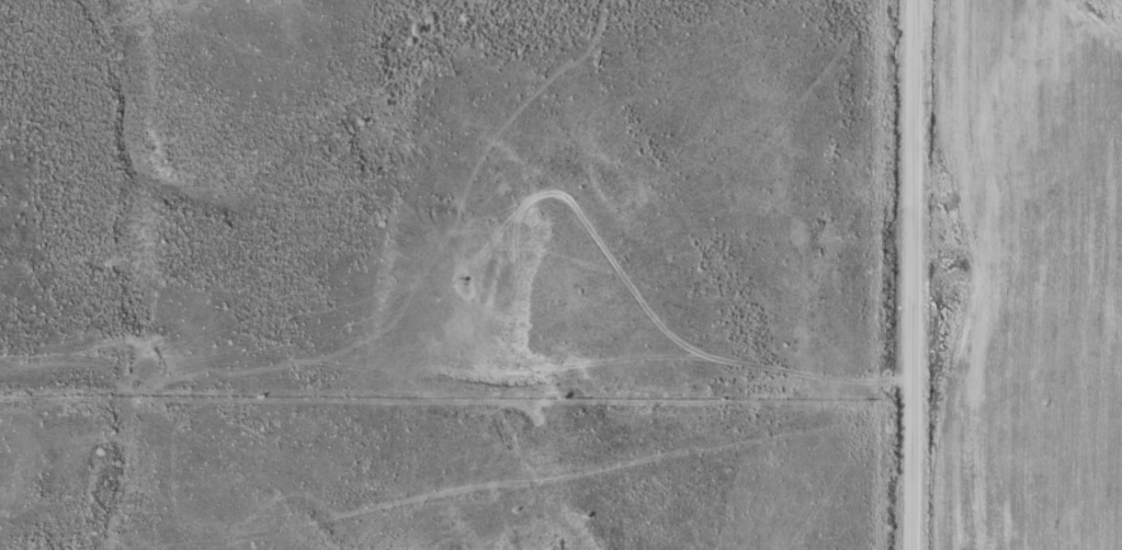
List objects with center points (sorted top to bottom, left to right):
road: (917, 275)

